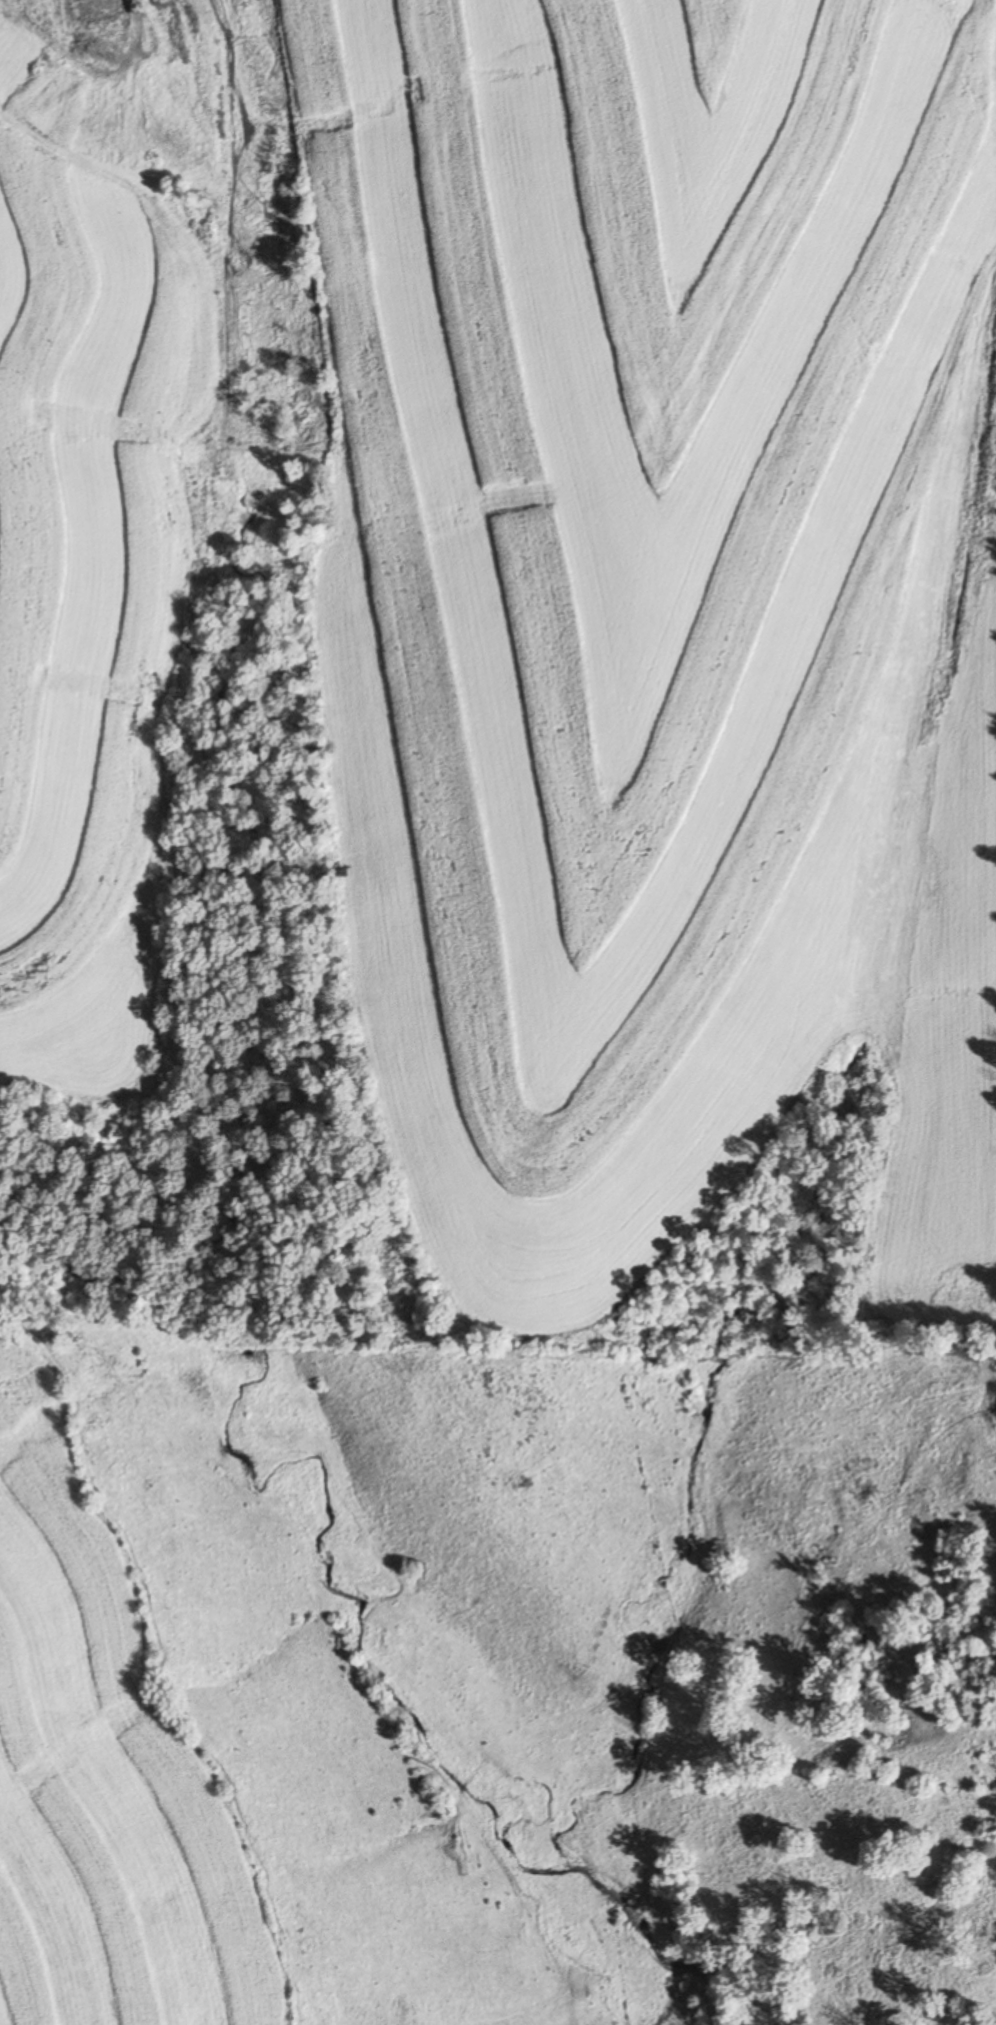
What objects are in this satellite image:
road: (991, 492)

